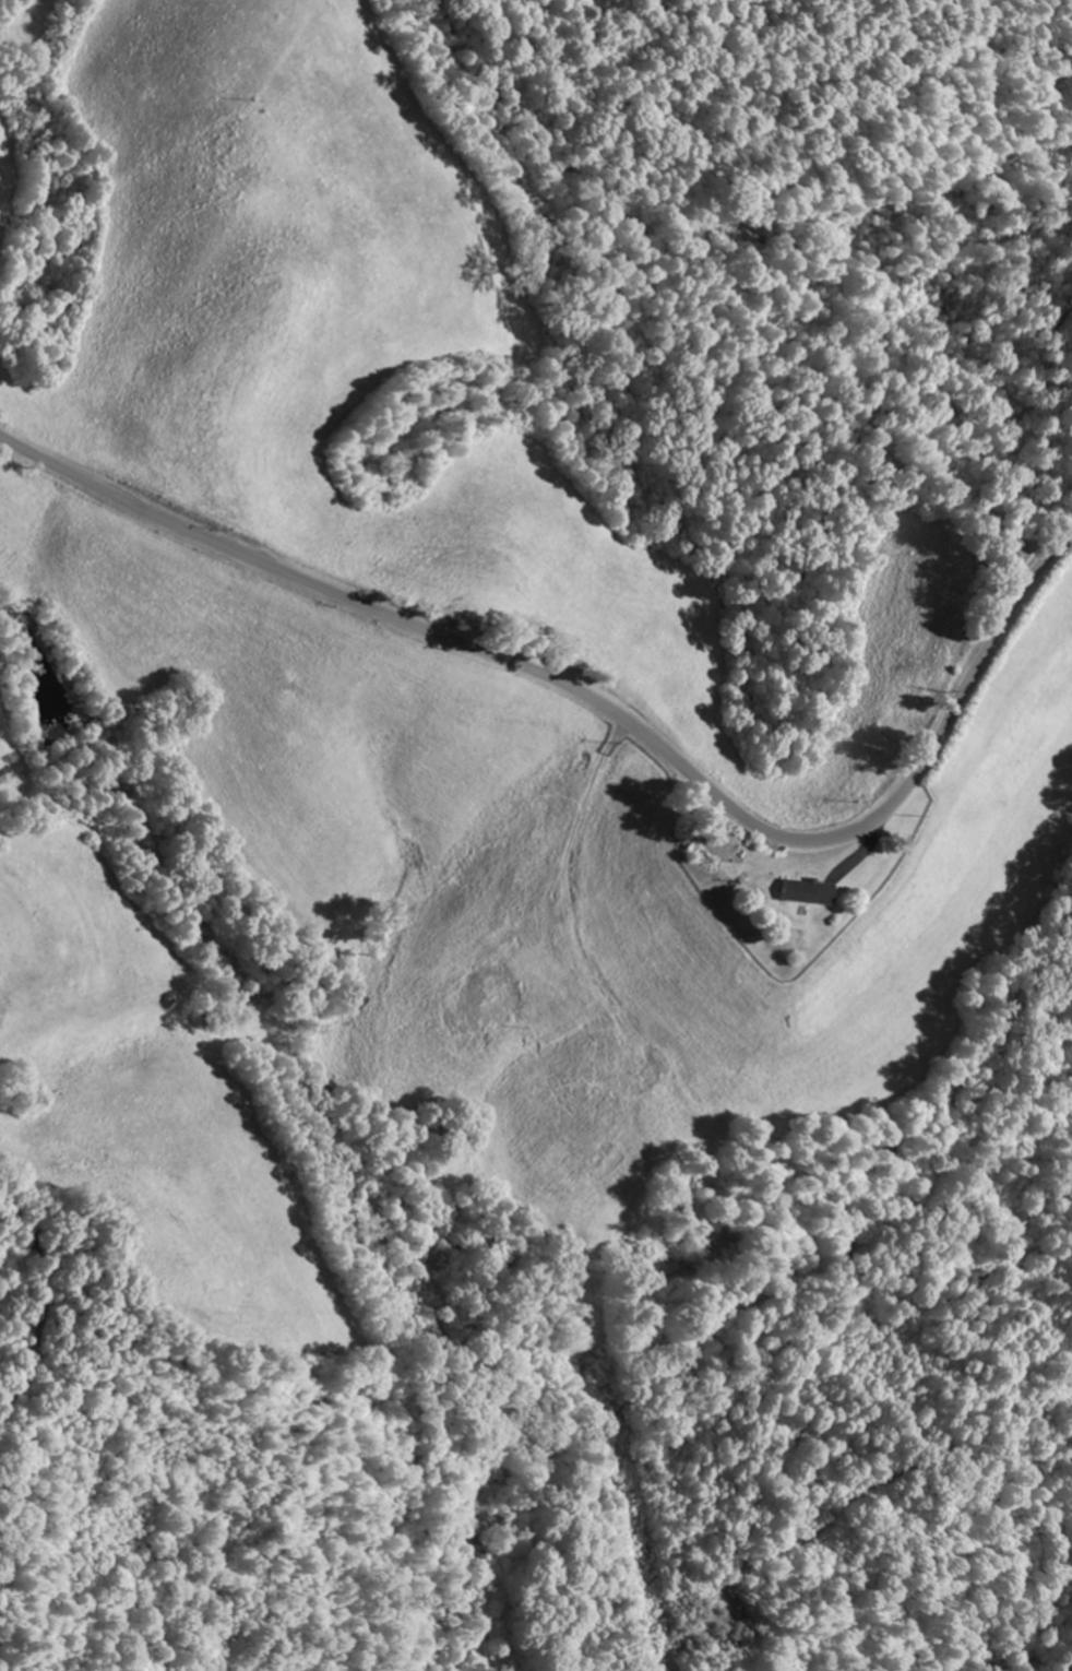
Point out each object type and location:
road: (606, 710)
building: (807, 891)
building: (498, 997)
building: (651, 1072)
building: (607, 1161)

